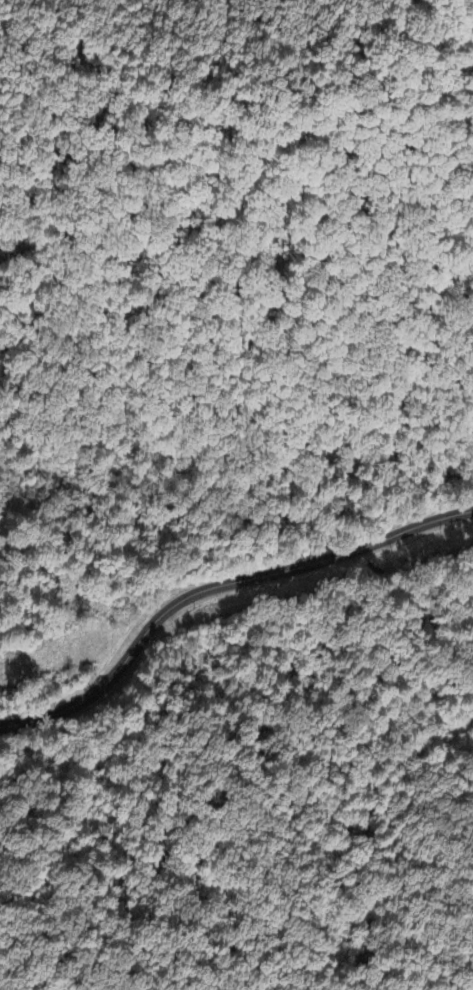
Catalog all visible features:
road: (215, 588)

